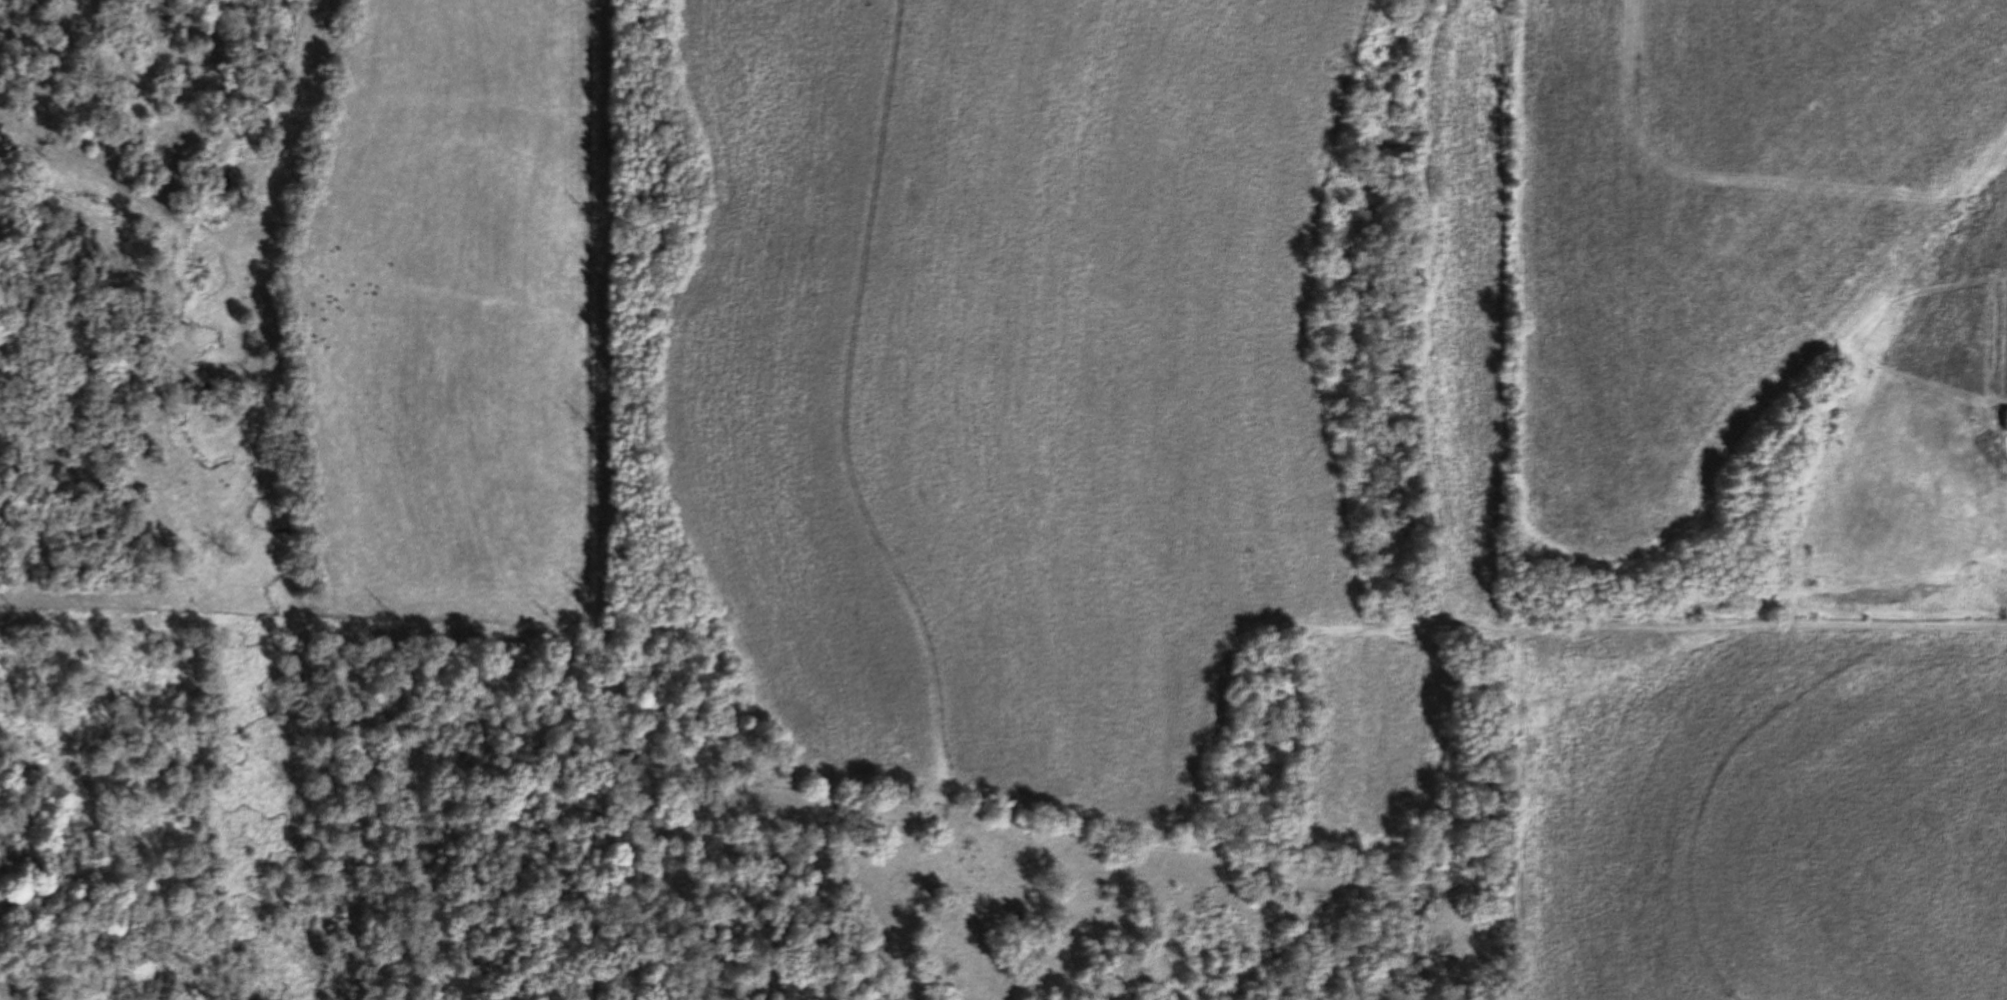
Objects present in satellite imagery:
building: (2006, 420)

